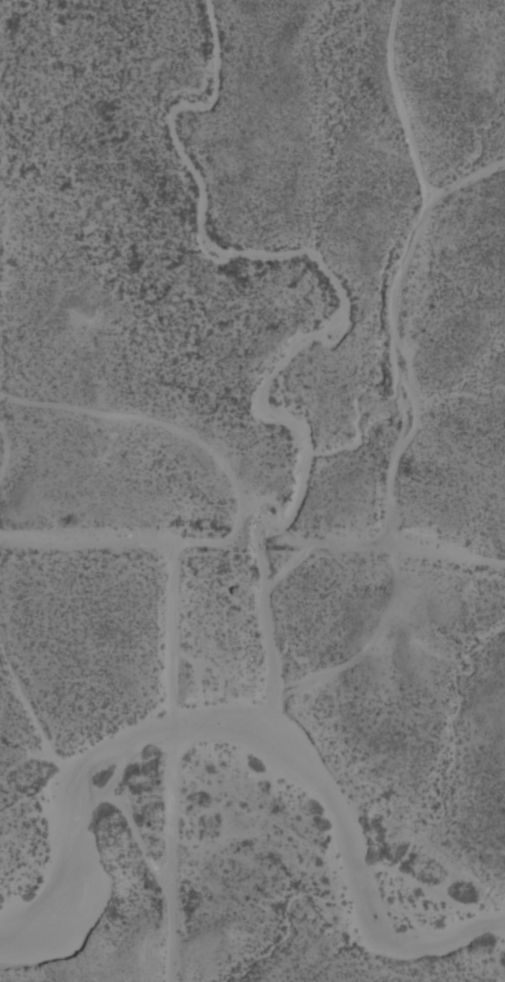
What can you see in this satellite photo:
road: (401, 548)

